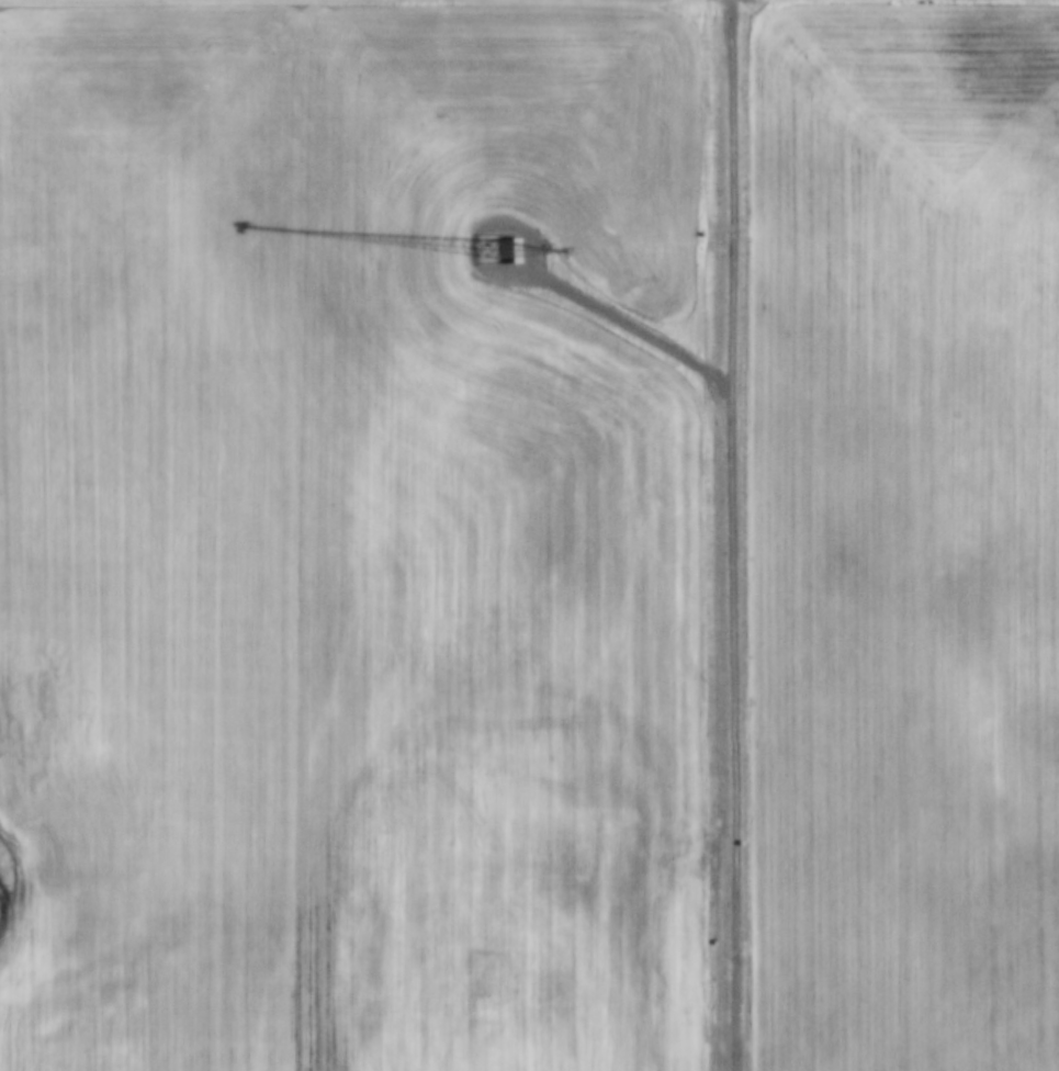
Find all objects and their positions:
building: (514, 234)
road: (735, 535)

